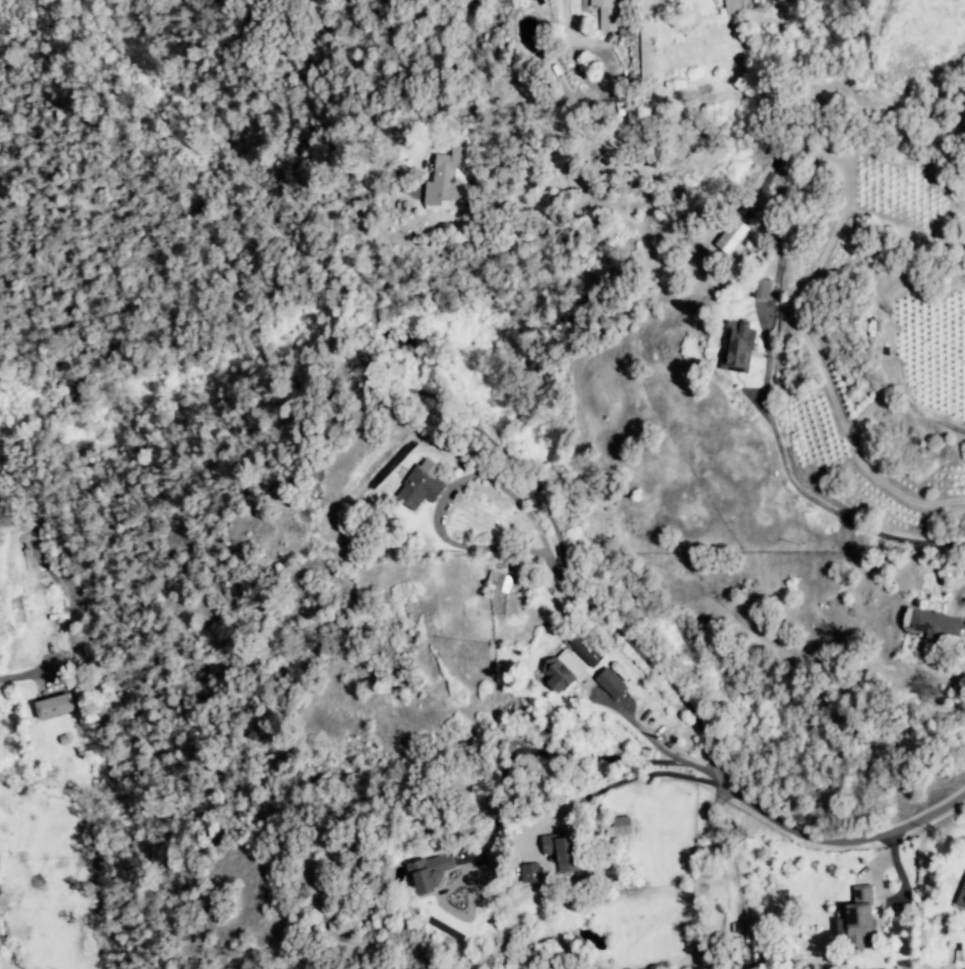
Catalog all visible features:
road: (561, 10)
building: (605, 14)
building: (446, 177)
building: (731, 237)
building: (762, 290)
building: (736, 347)
road: (898, 385)
road: (780, 456)
building: (420, 486)
road: (436, 514)
road: (561, 560)
building: (497, 582)
building: (931, 624)
building: (582, 653)
building: (562, 671)
road: (16, 675)
building: (609, 683)
building: (54, 706)
road: (641, 728)
road: (563, 754)
road: (625, 780)
building: (618, 826)
building: (560, 851)
building: (429, 872)
building: (529, 873)
building: (961, 896)
building: (857, 919)

